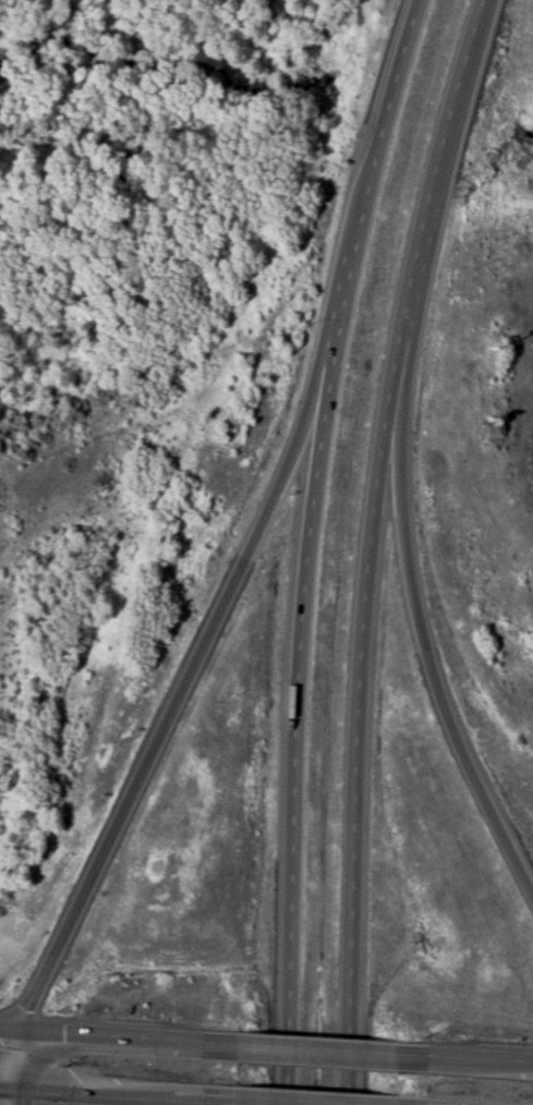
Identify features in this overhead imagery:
road: (305, 546)
road: (370, 546)
road: (414, 604)
road: (193, 660)
road: (10, 1033)
road: (131, 1040)
road: (318, 1051)
road: (464, 1059)
road: (21, 1064)
road: (10, 1092)
road: (21, 1098)
road: (133, 1098)
road: (253, 1104)

